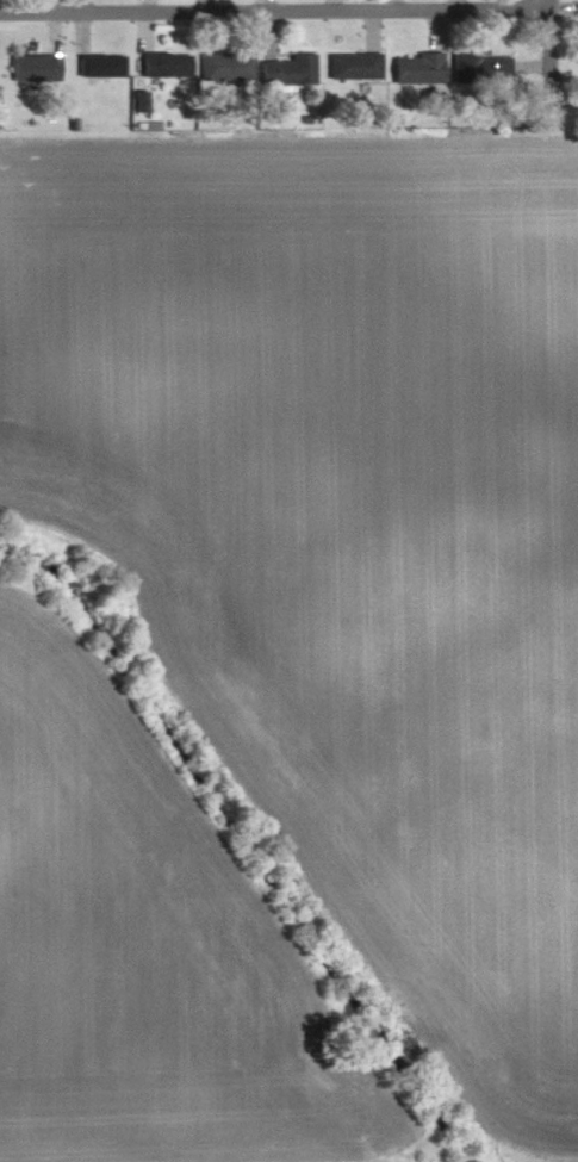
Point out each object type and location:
road: (549, 5)
road: (274, 10)
road: (551, 58)
building: (104, 66)
building: (169, 66)
building: (356, 67)
building: (38, 68)
building: (229, 68)
building: (421, 69)
building: (483, 69)
building: (292, 72)

